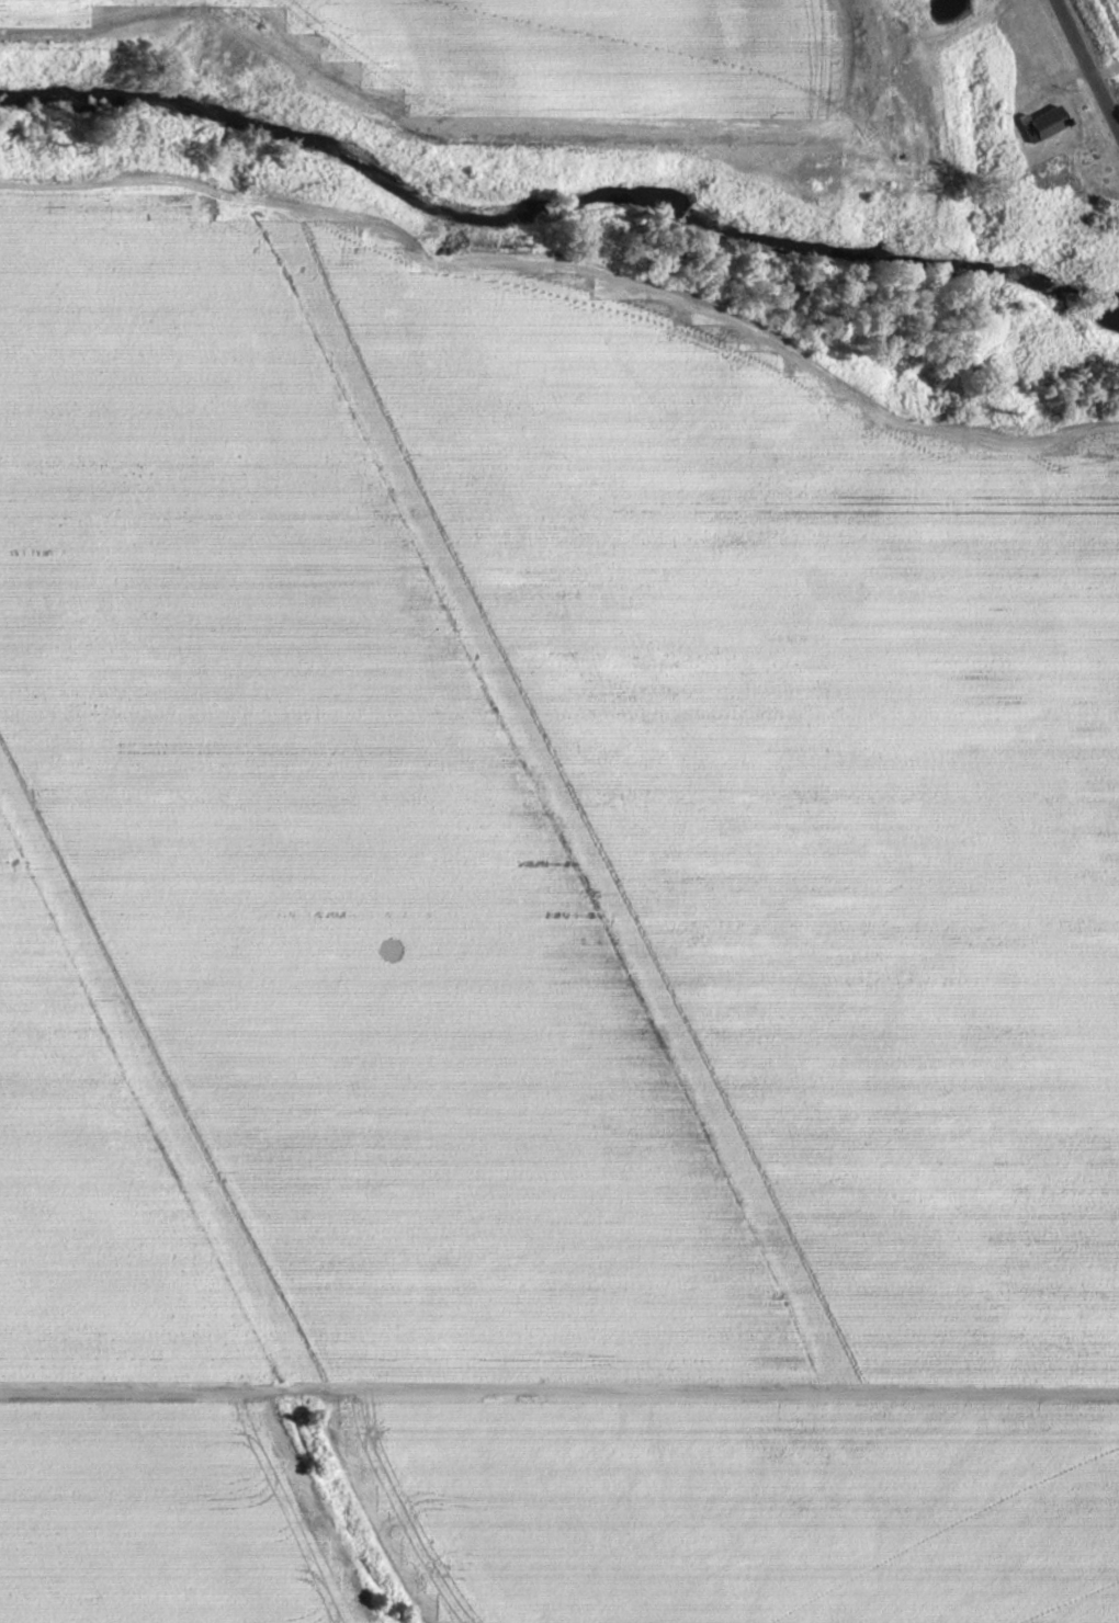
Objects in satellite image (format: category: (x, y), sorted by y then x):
railway: (1110, 16)
road: (1083, 69)
road: (1104, 73)
building: (1041, 124)
road: (575, 265)
road: (558, 1392)

